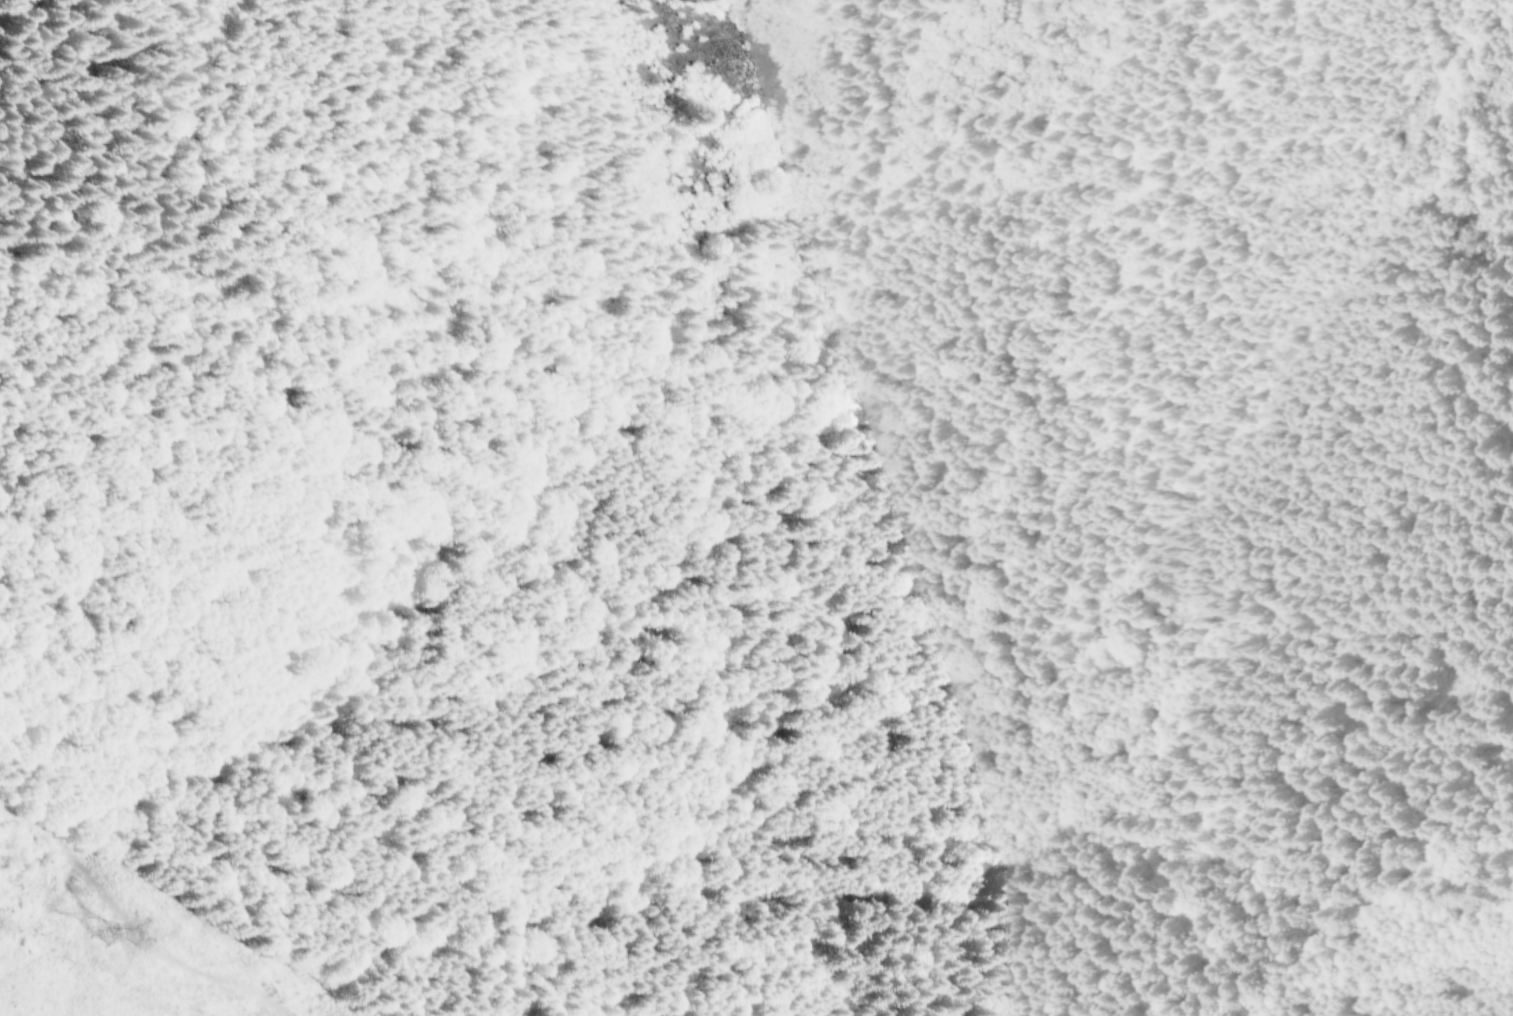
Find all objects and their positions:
power tower: (100, 930)

